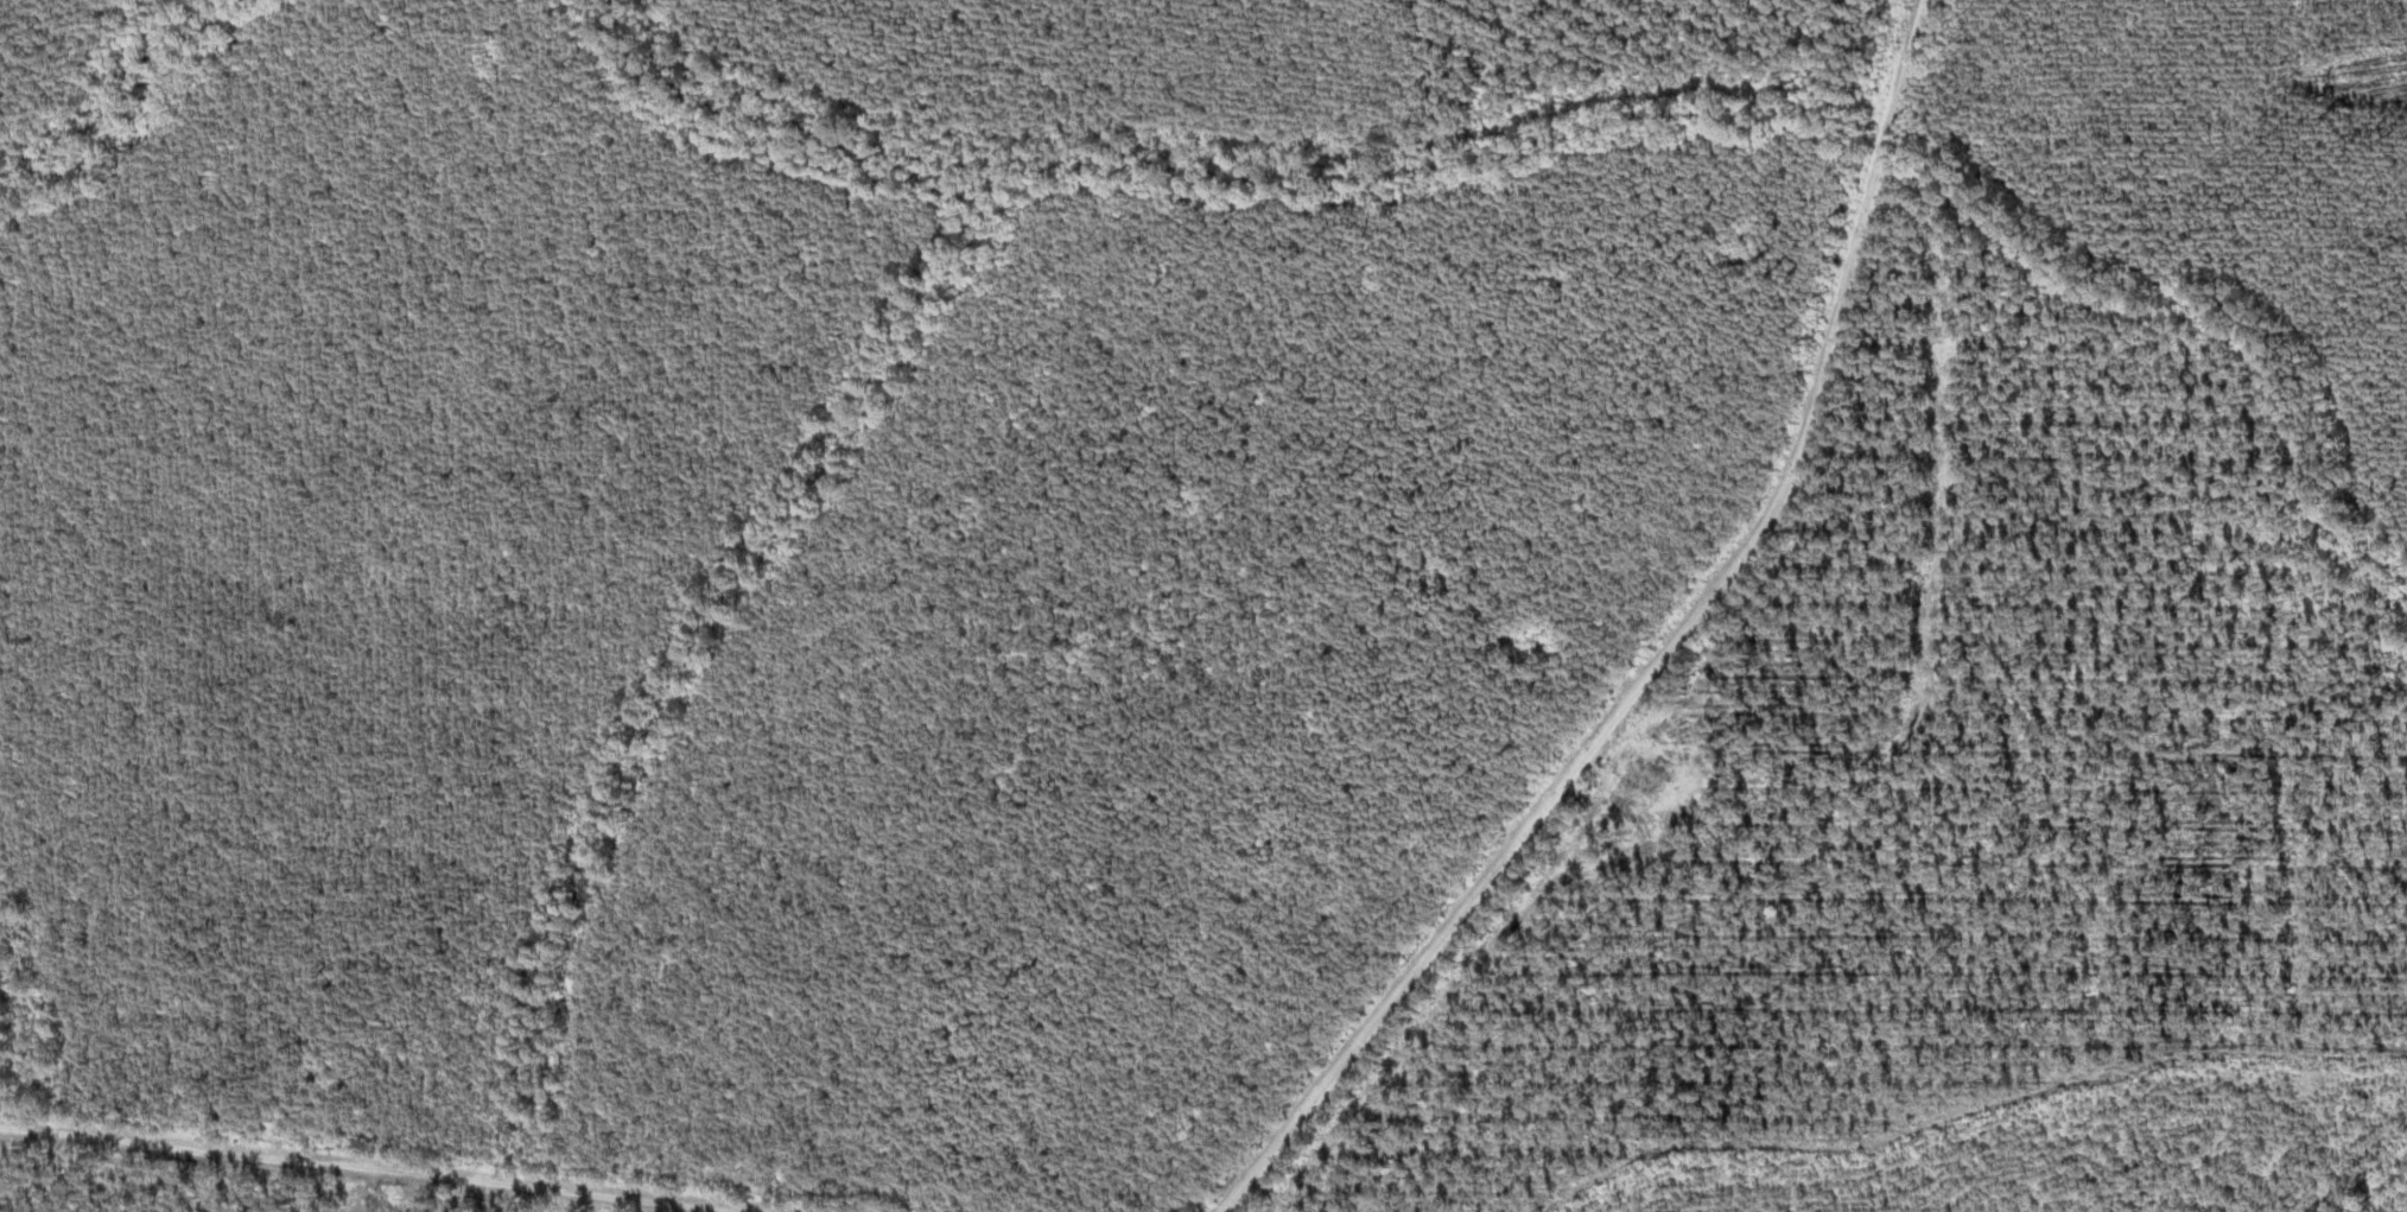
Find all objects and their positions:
road: (1664, 652)
road: (123, 1148)
road: (446, 1187)

